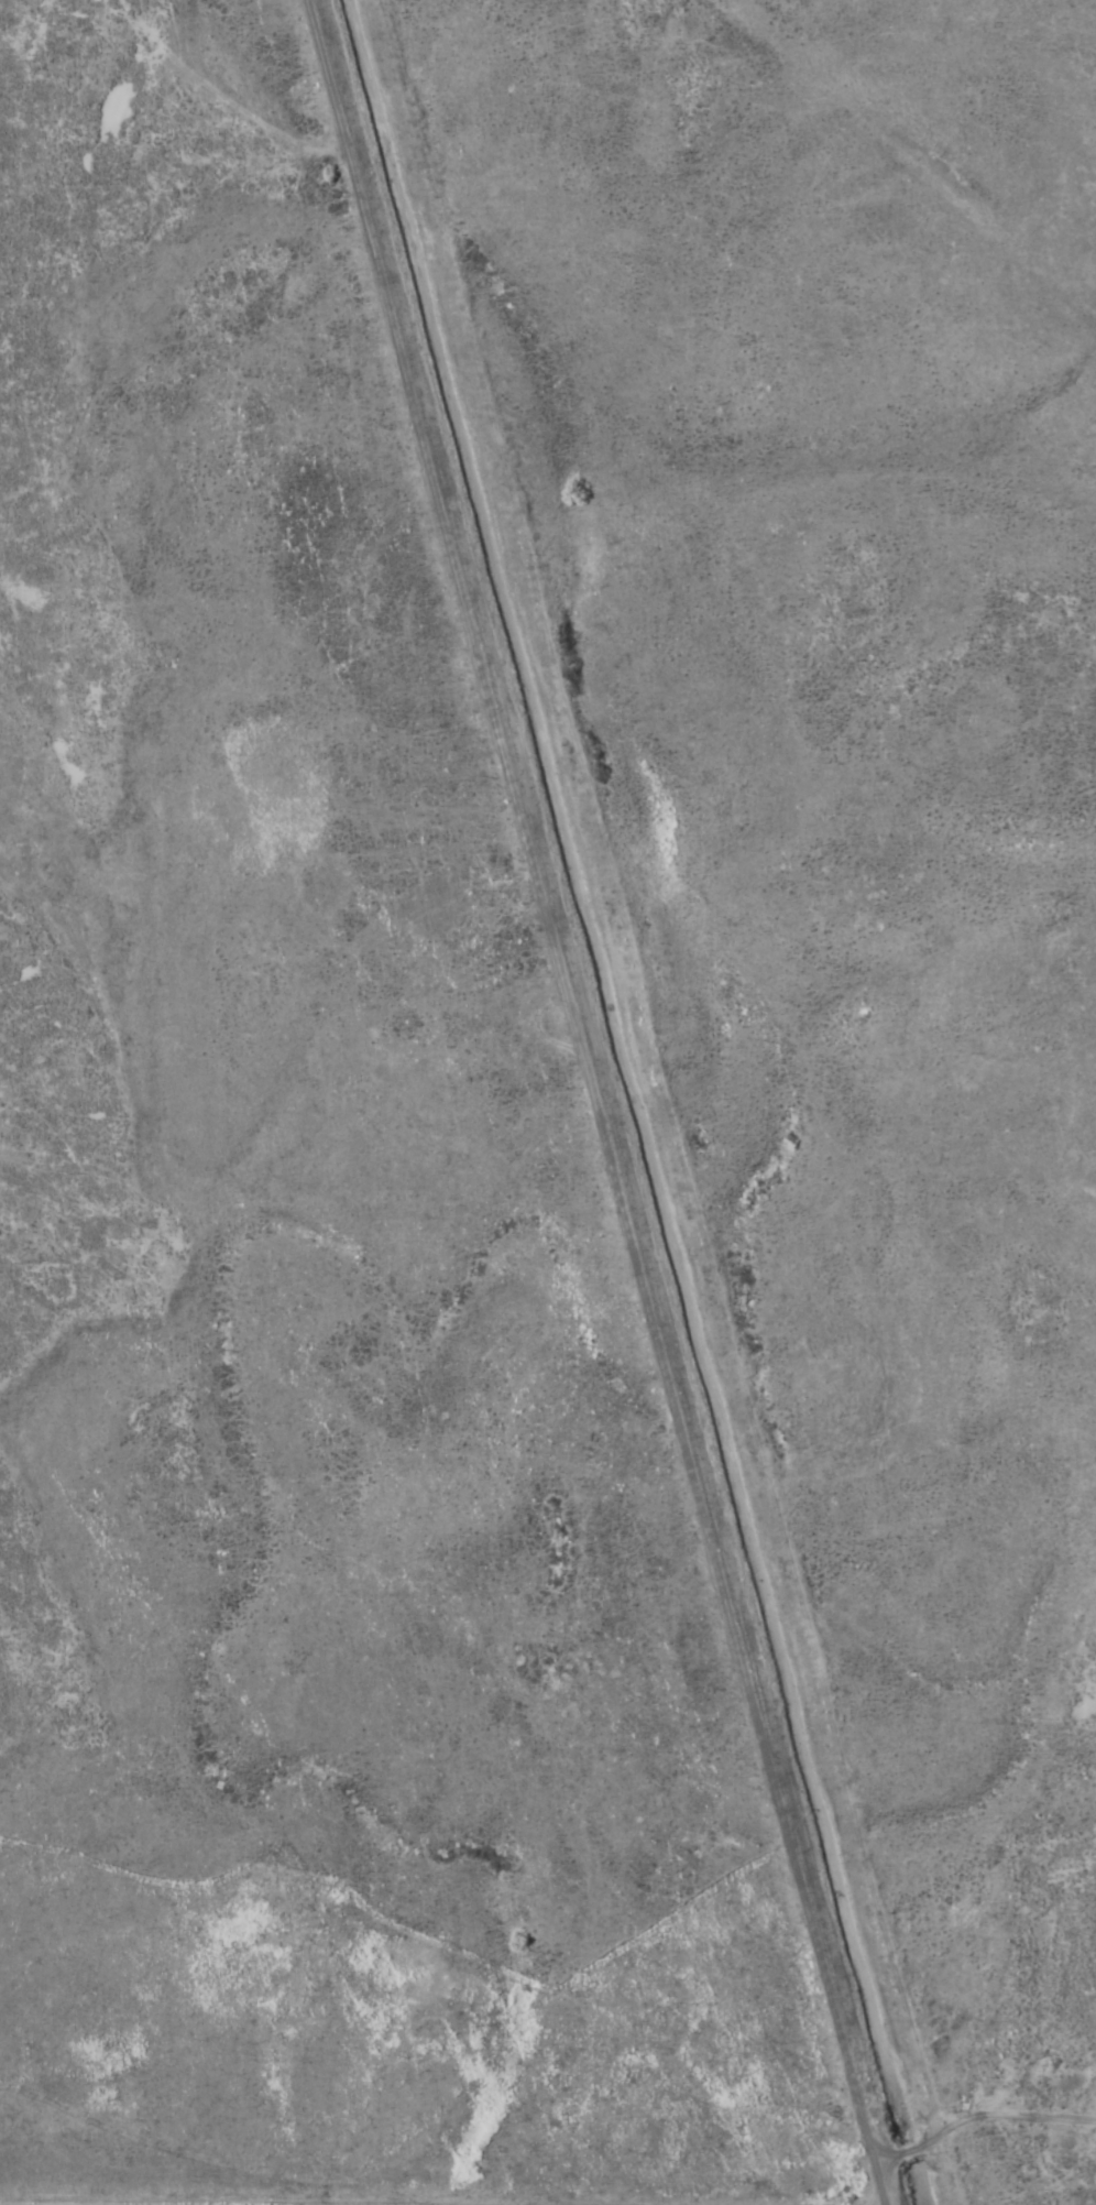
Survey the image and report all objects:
road: (571, 1102)

